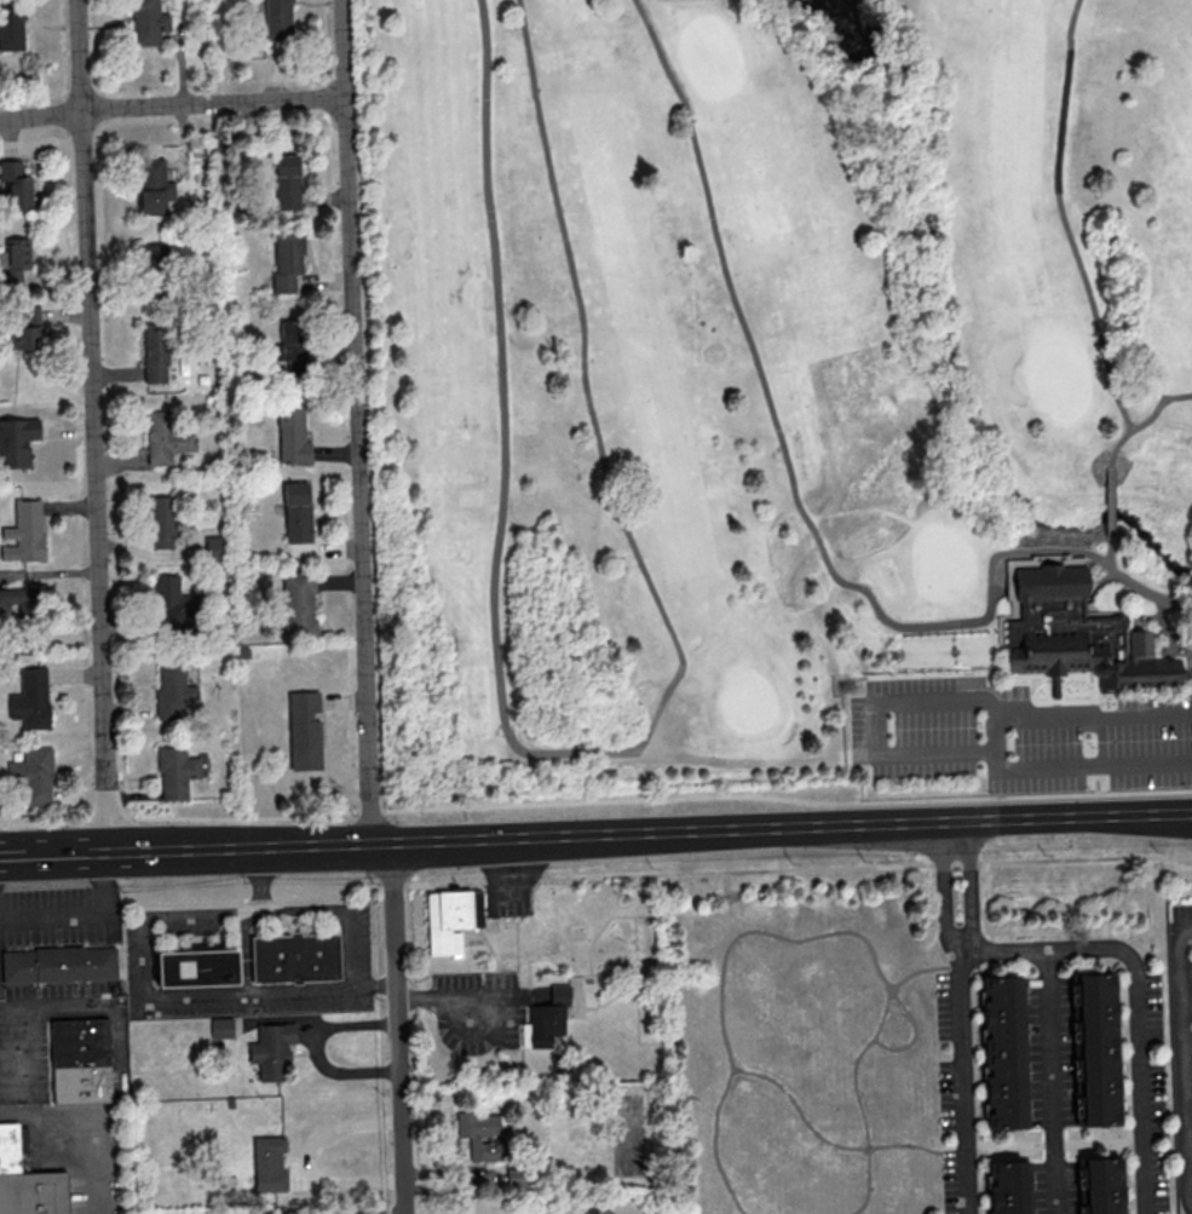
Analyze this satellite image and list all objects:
building: (278, 18)
building: (146, 22)
building: (11, 25)
road: (173, 107)
building: (286, 180)
building: (16, 184)
building: (154, 188)
road: (1064, 219)
building: (152, 257)
building: (15, 260)
building: (286, 261)
building: (24, 330)
building: (155, 351)
building: (287, 351)
river: (949, 351)
park: (776, 401)
road: (358, 420)
road: (1145, 424)
road: (93, 425)
building: (292, 433)
building: (166, 437)
building: (16, 442)
road: (1112, 502)
road: (797, 507)
building: (296, 511)
building: (161, 522)
building: (23, 531)
building: (213, 546)
road: (1111, 559)
building: (18, 599)
building: (172, 602)
building: (298, 603)
road: (1165, 632)
building: (1082, 635)
building: (172, 690)
building: (30, 698)
road: (875, 719)
building: (304, 730)
parking lot: (1020, 736)
road: (992, 743)
road: (587, 755)
building: (175, 771)
building: (33, 773)
road: (595, 802)
road: (782, 825)
road: (315, 844)
road: (139, 850)
road: (10, 853)
road: (508, 864)
road: (647, 873)
road: (258, 878)
road: (102, 881)
road: (507, 893)
parking lot: (506, 901)
road: (1145, 907)
road: (52, 913)
parking lot: (53, 917)
building: (450, 917)
road: (246, 951)
building: (298, 959)
building: (59, 962)
parking lot: (0, 968)
building: (202, 968)
helipad: (186, 970)
road: (375, 988)
road: (491, 991)
road: (231, 993)
building: (234, 996)
road: (1136, 996)
road: (428, 997)
road: (29, 1005)
road: (883, 1013)
road: (960, 1017)
building: (546, 1018)
building: (221, 1025)
road: (399, 1028)
parking lot: (44, 1030)
building: (271, 1048)
building: (1096, 1048)
road: (316, 1049)
building: (1003, 1052)
building: (84, 1061)
road: (1184, 1065)
road: (735, 1072)
road: (19, 1077)
road: (1049, 1081)
road: (90, 1117)
building: (480, 1134)
road: (715, 1144)
building: (11, 1146)
road: (306, 1158)
building: (269, 1163)
building: (1102, 1185)
building: (1008, 1186)
building: (34, 1192)
parking lot: (75, 1192)
road: (380, 1210)

